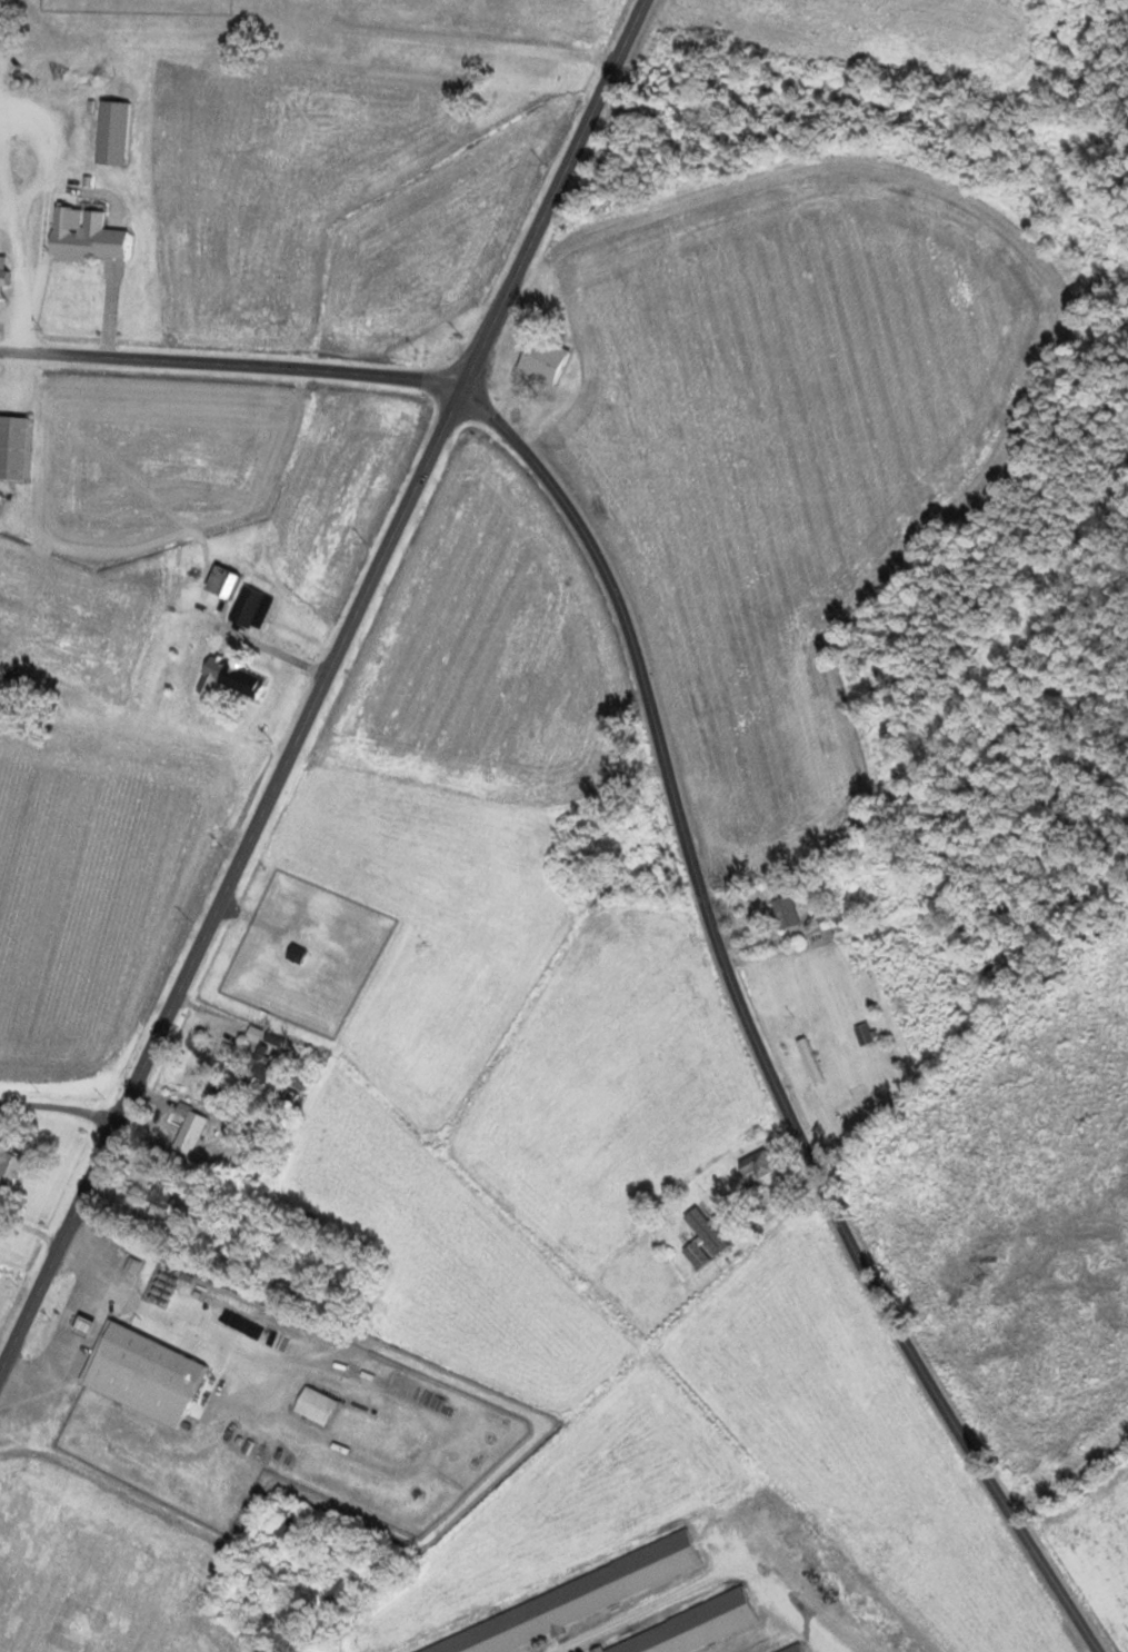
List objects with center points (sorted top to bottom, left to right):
road: (468, 47)
road: (80, 173)
building: (81, 235)
building: (2, 276)
building: (539, 359)
road: (231, 364)
building: (12, 447)
building: (217, 581)
building: (243, 605)
building: (236, 679)
road: (322, 685)
building: (782, 912)
building: (292, 955)
road: (660, 997)
road: (750, 1027)
building: (259, 1058)
building: (807, 1061)
building: (291, 1086)
building: (186, 1129)
building: (758, 1164)
building: (8, 1167)
building: (158, 1195)
road: (174, 1305)
building: (140, 1375)
road: (70, 1383)
building: (312, 1405)
road: (439, 1413)
road: (1068, 1460)
building: (279, 1523)
building: (698, 1631)

